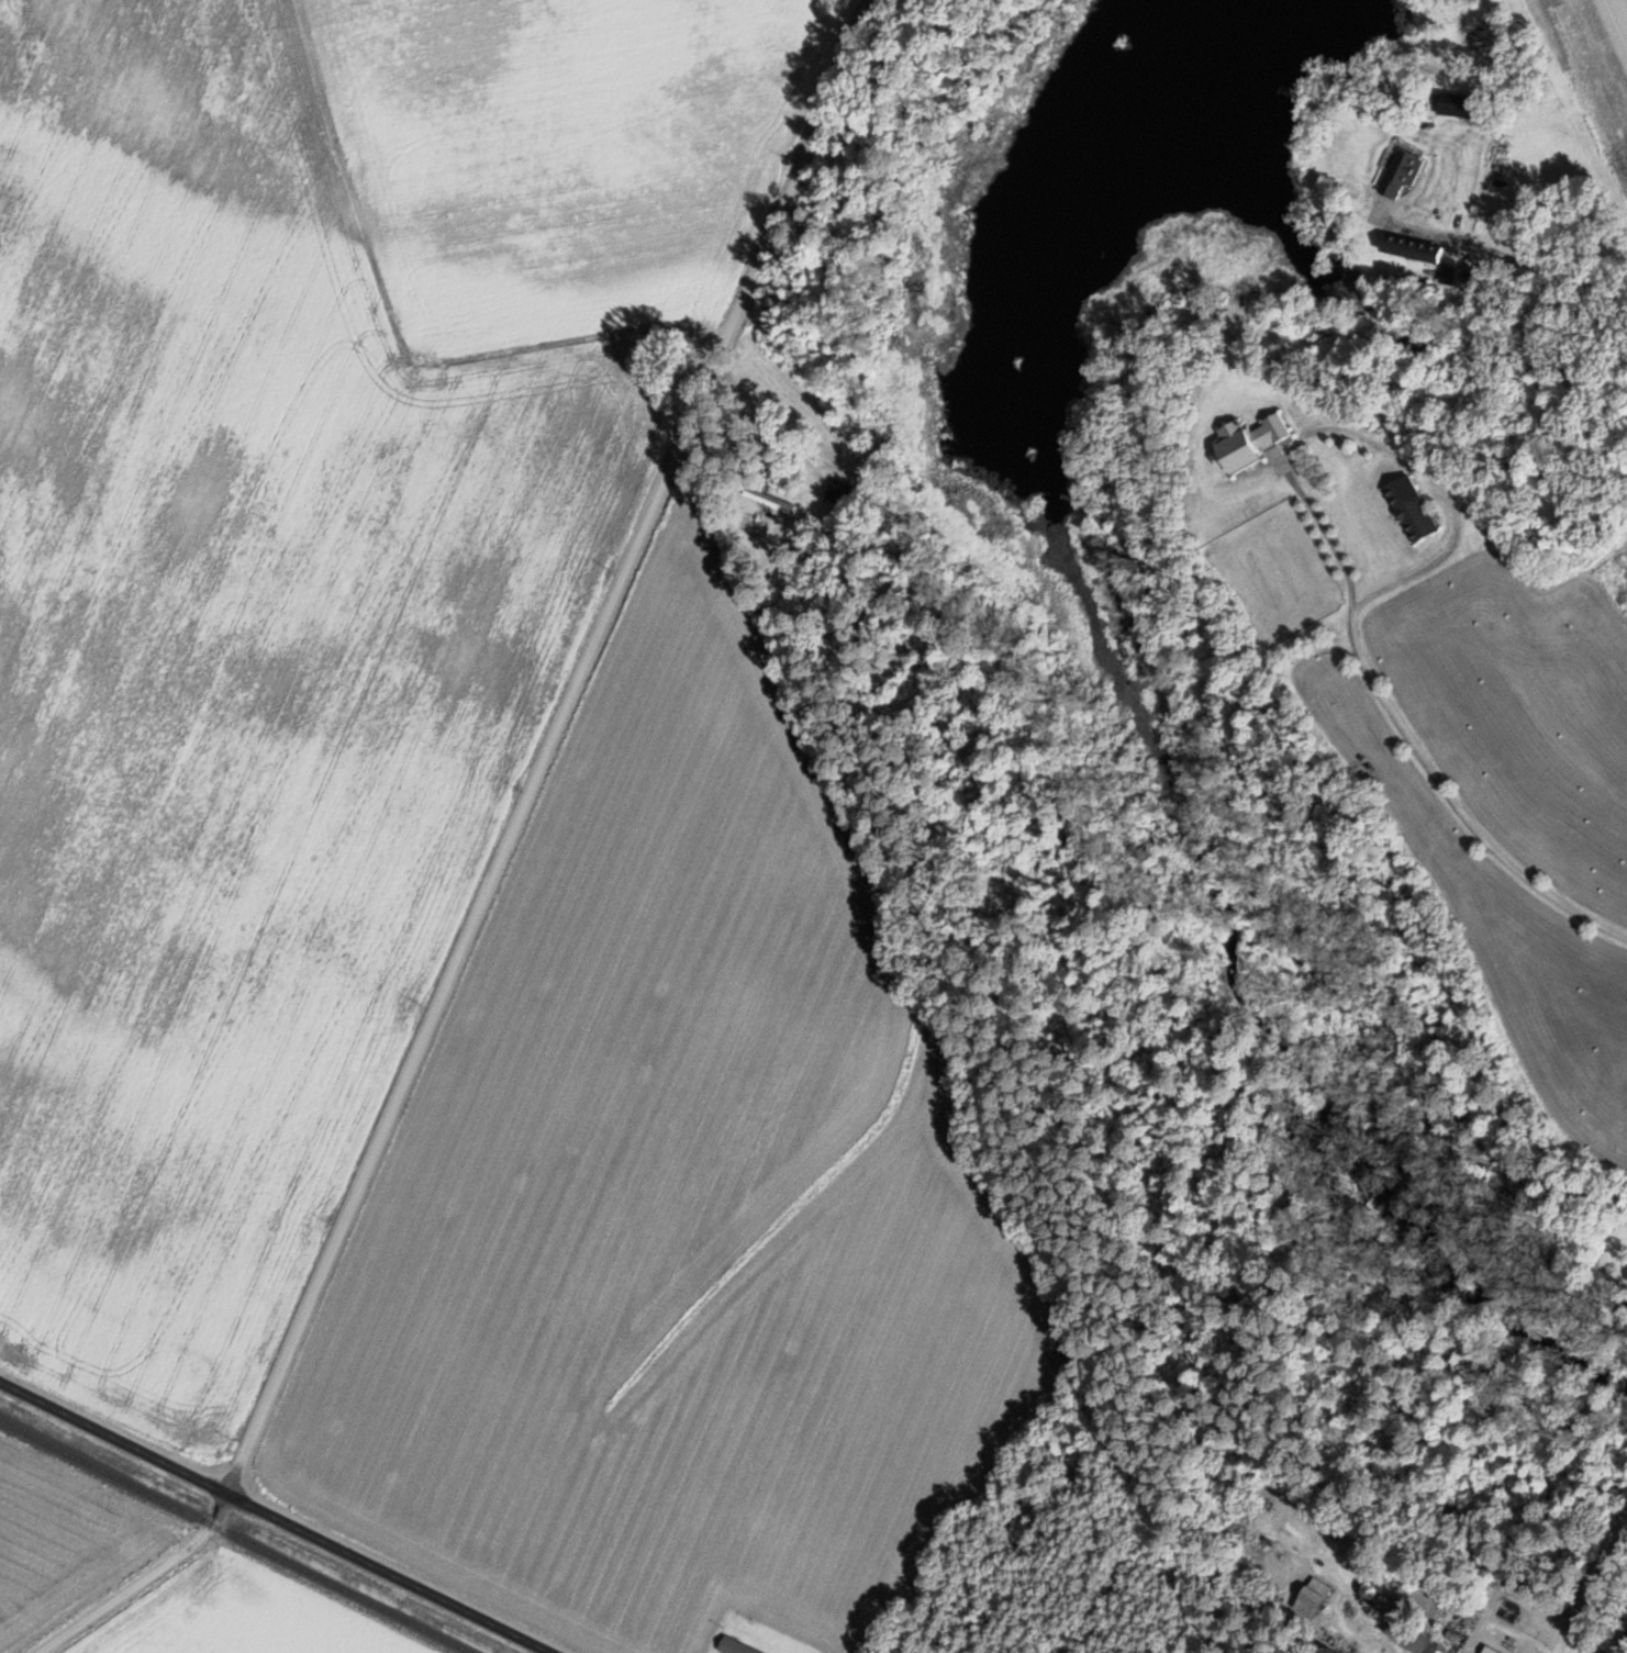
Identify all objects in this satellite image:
building: (1402, 171)
building: (1426, 250)
building: (1250, 442)
building: (842, 493)
building: (1409, 509)
road: (1459, 801)
road: (499, 859)
road: (270, 1519)
railway: (236, 1535)
building: (1314, 1598)
building: (1514, 1631)
building: (1414, 1638)
building: (735, 1646)
road: (1624, 1648)

